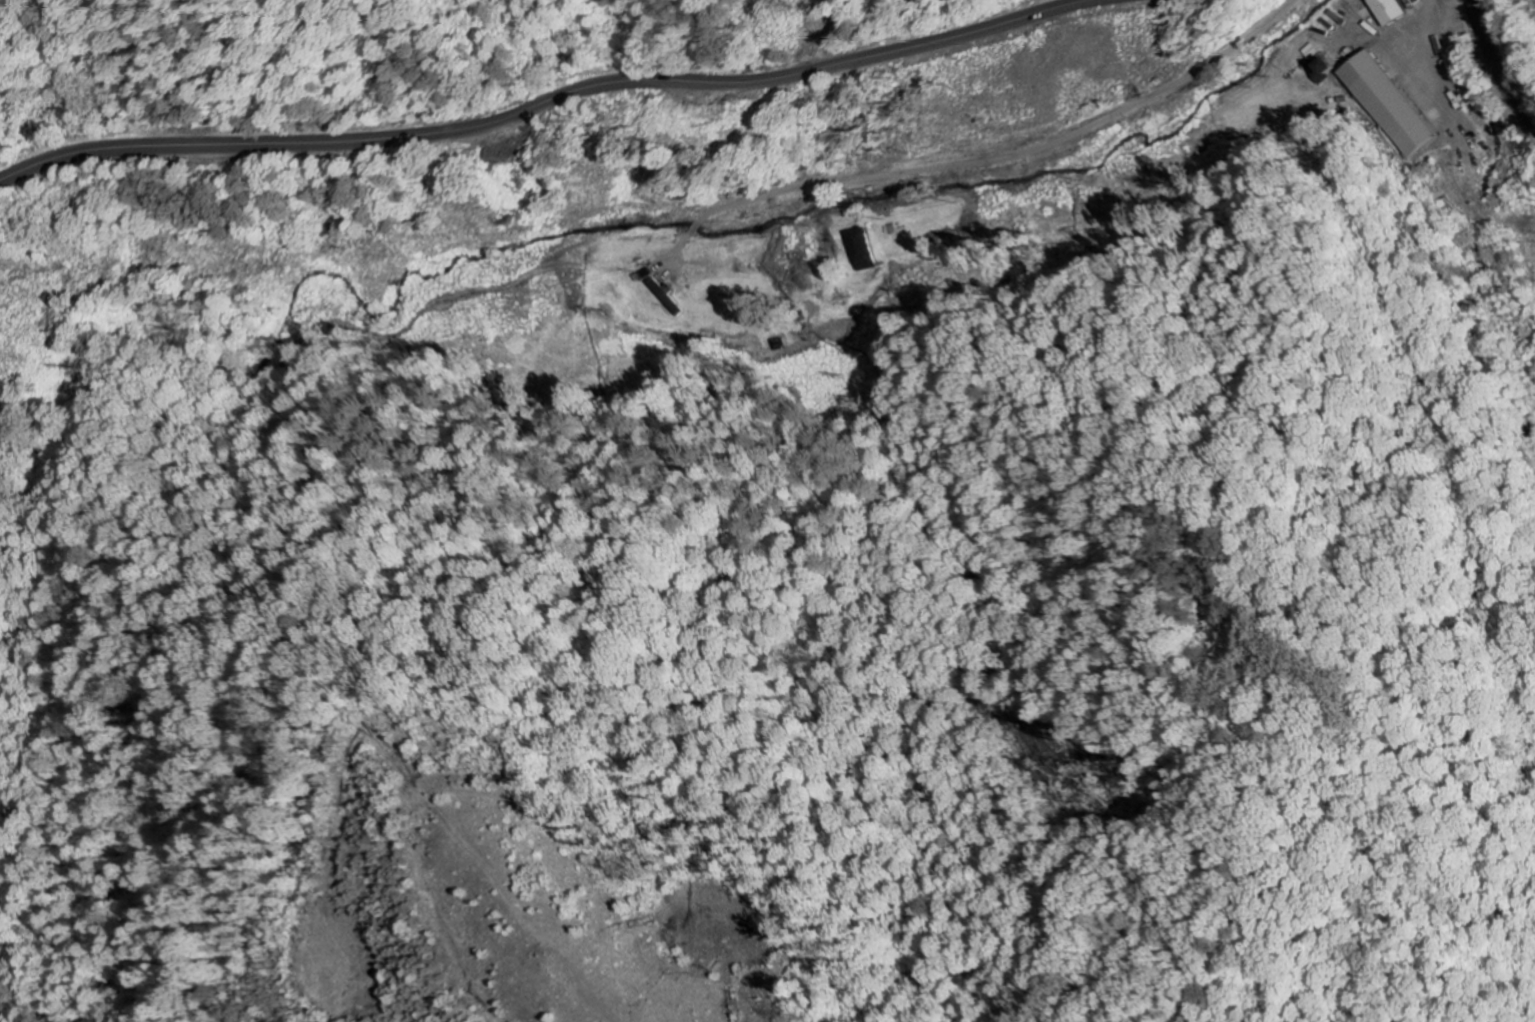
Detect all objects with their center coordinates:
road: (1423, 34)
road: (1412, 58)
road: (1495, 69)
building: (1325, 70)
road: (543, 102)
building: (1387, 103)
road: (1018, 156)
road: (1457, 193)
building: (865, 249)
road: (61, 257)

